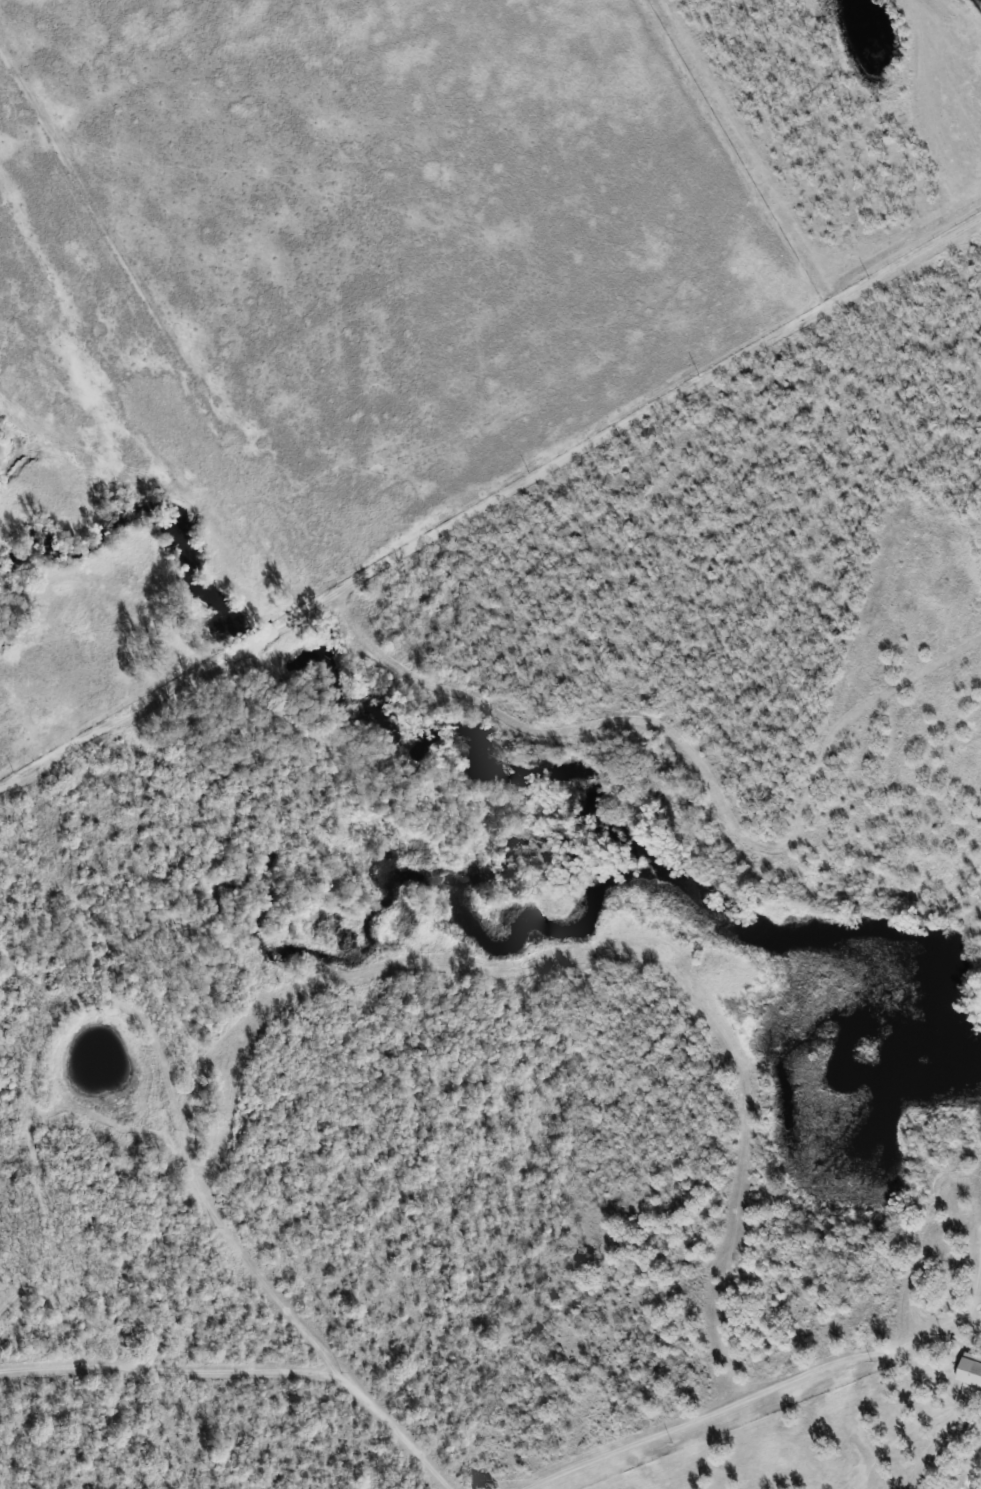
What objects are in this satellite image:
road: (971, 1473)

